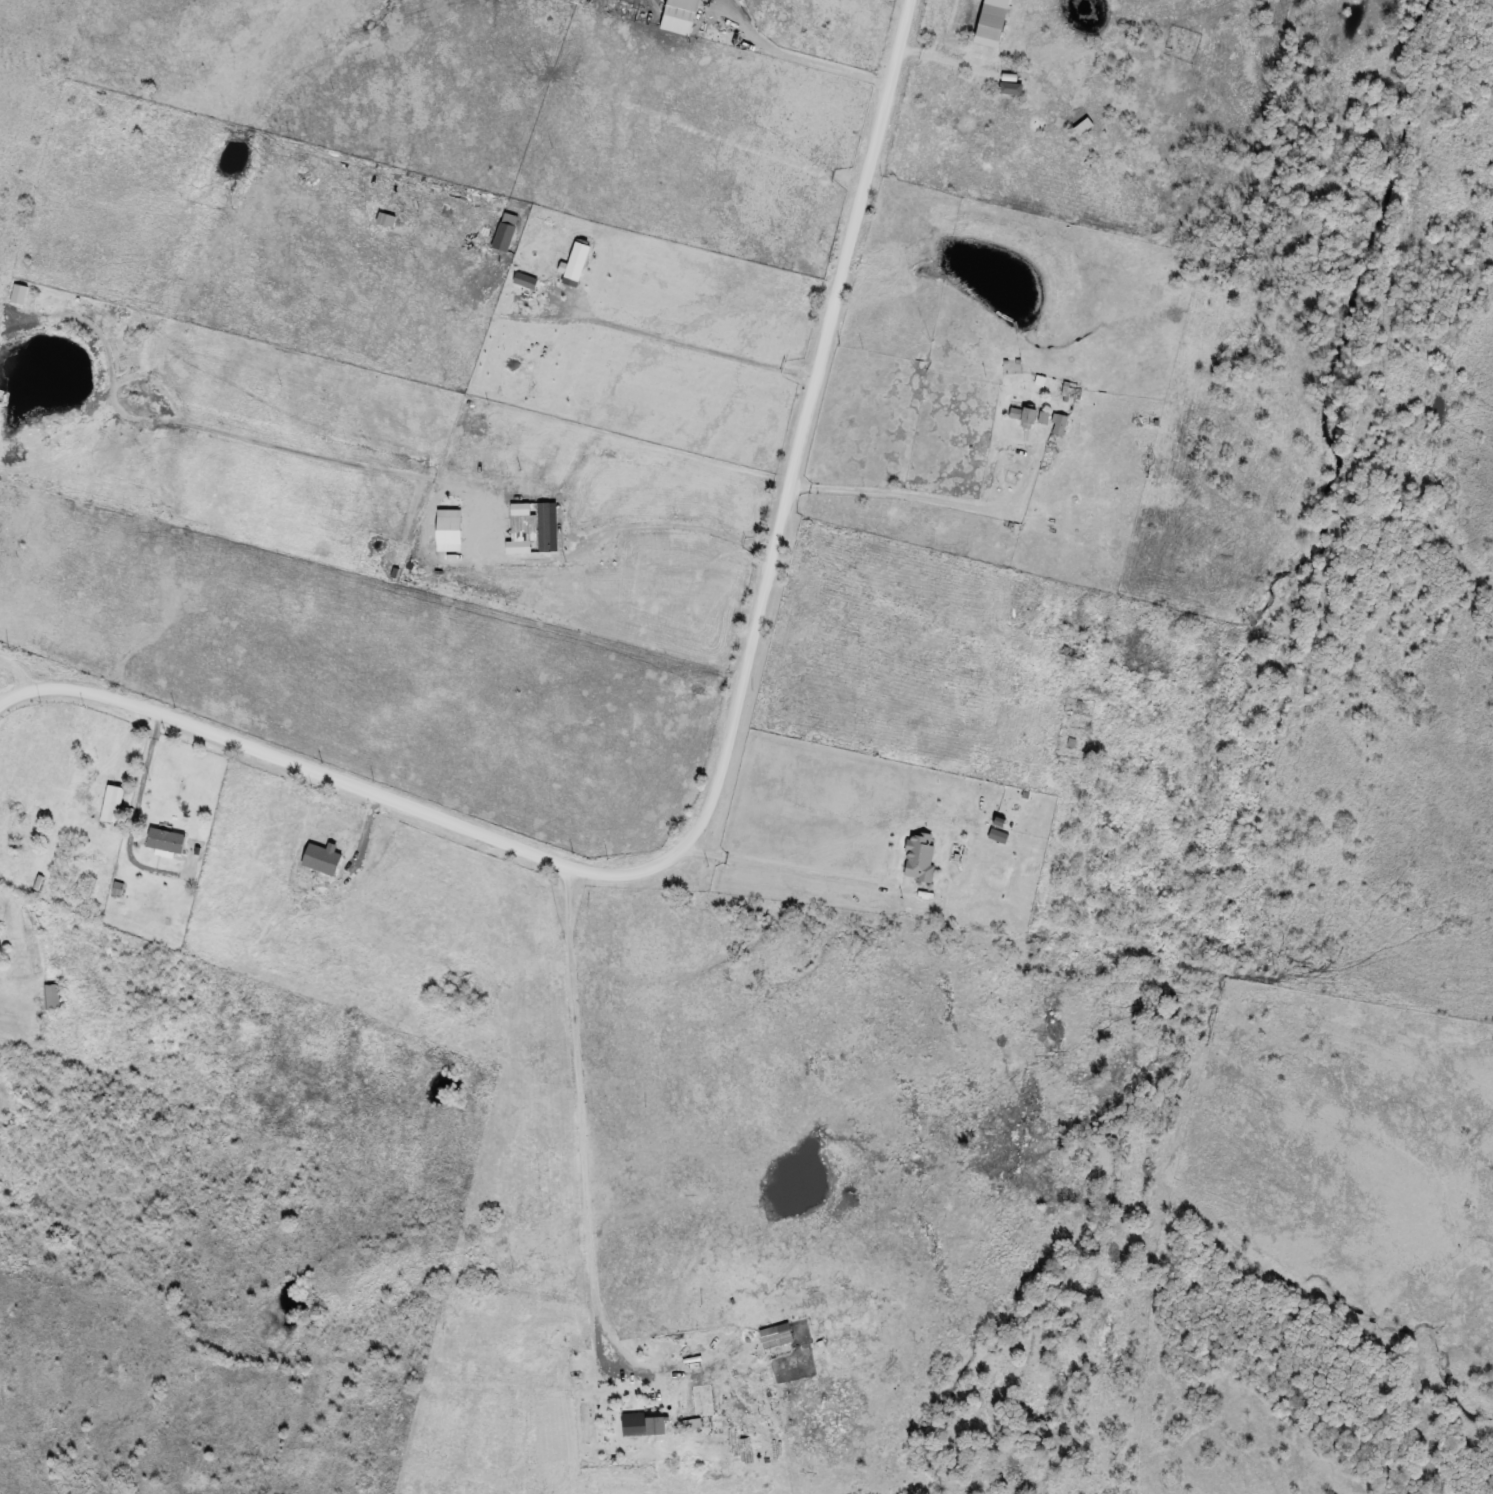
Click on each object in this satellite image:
building: (995, 24)
road: (801, 59)
road: (938, 60)
building: (1014, 90)
road: (685, 350)
building: (1028, 415)
building: (1156, 418)
building: (1058, 424)
road: (924, 494)
road: (686, 531)
road: (5, 631)
road: (18, 672)
road: (128, 745)
road: (715, 779)
building: (113, 805)
road: (134, 812)
building: (22, 823)
building: (166, 840)
building: (920, 857)
road: (782, 875)
building: (427, 979)
building: (54, 998)
road: (580, 1128)
building: (776, 1336)
building: (692, 1423)
building: (635, 1424)

